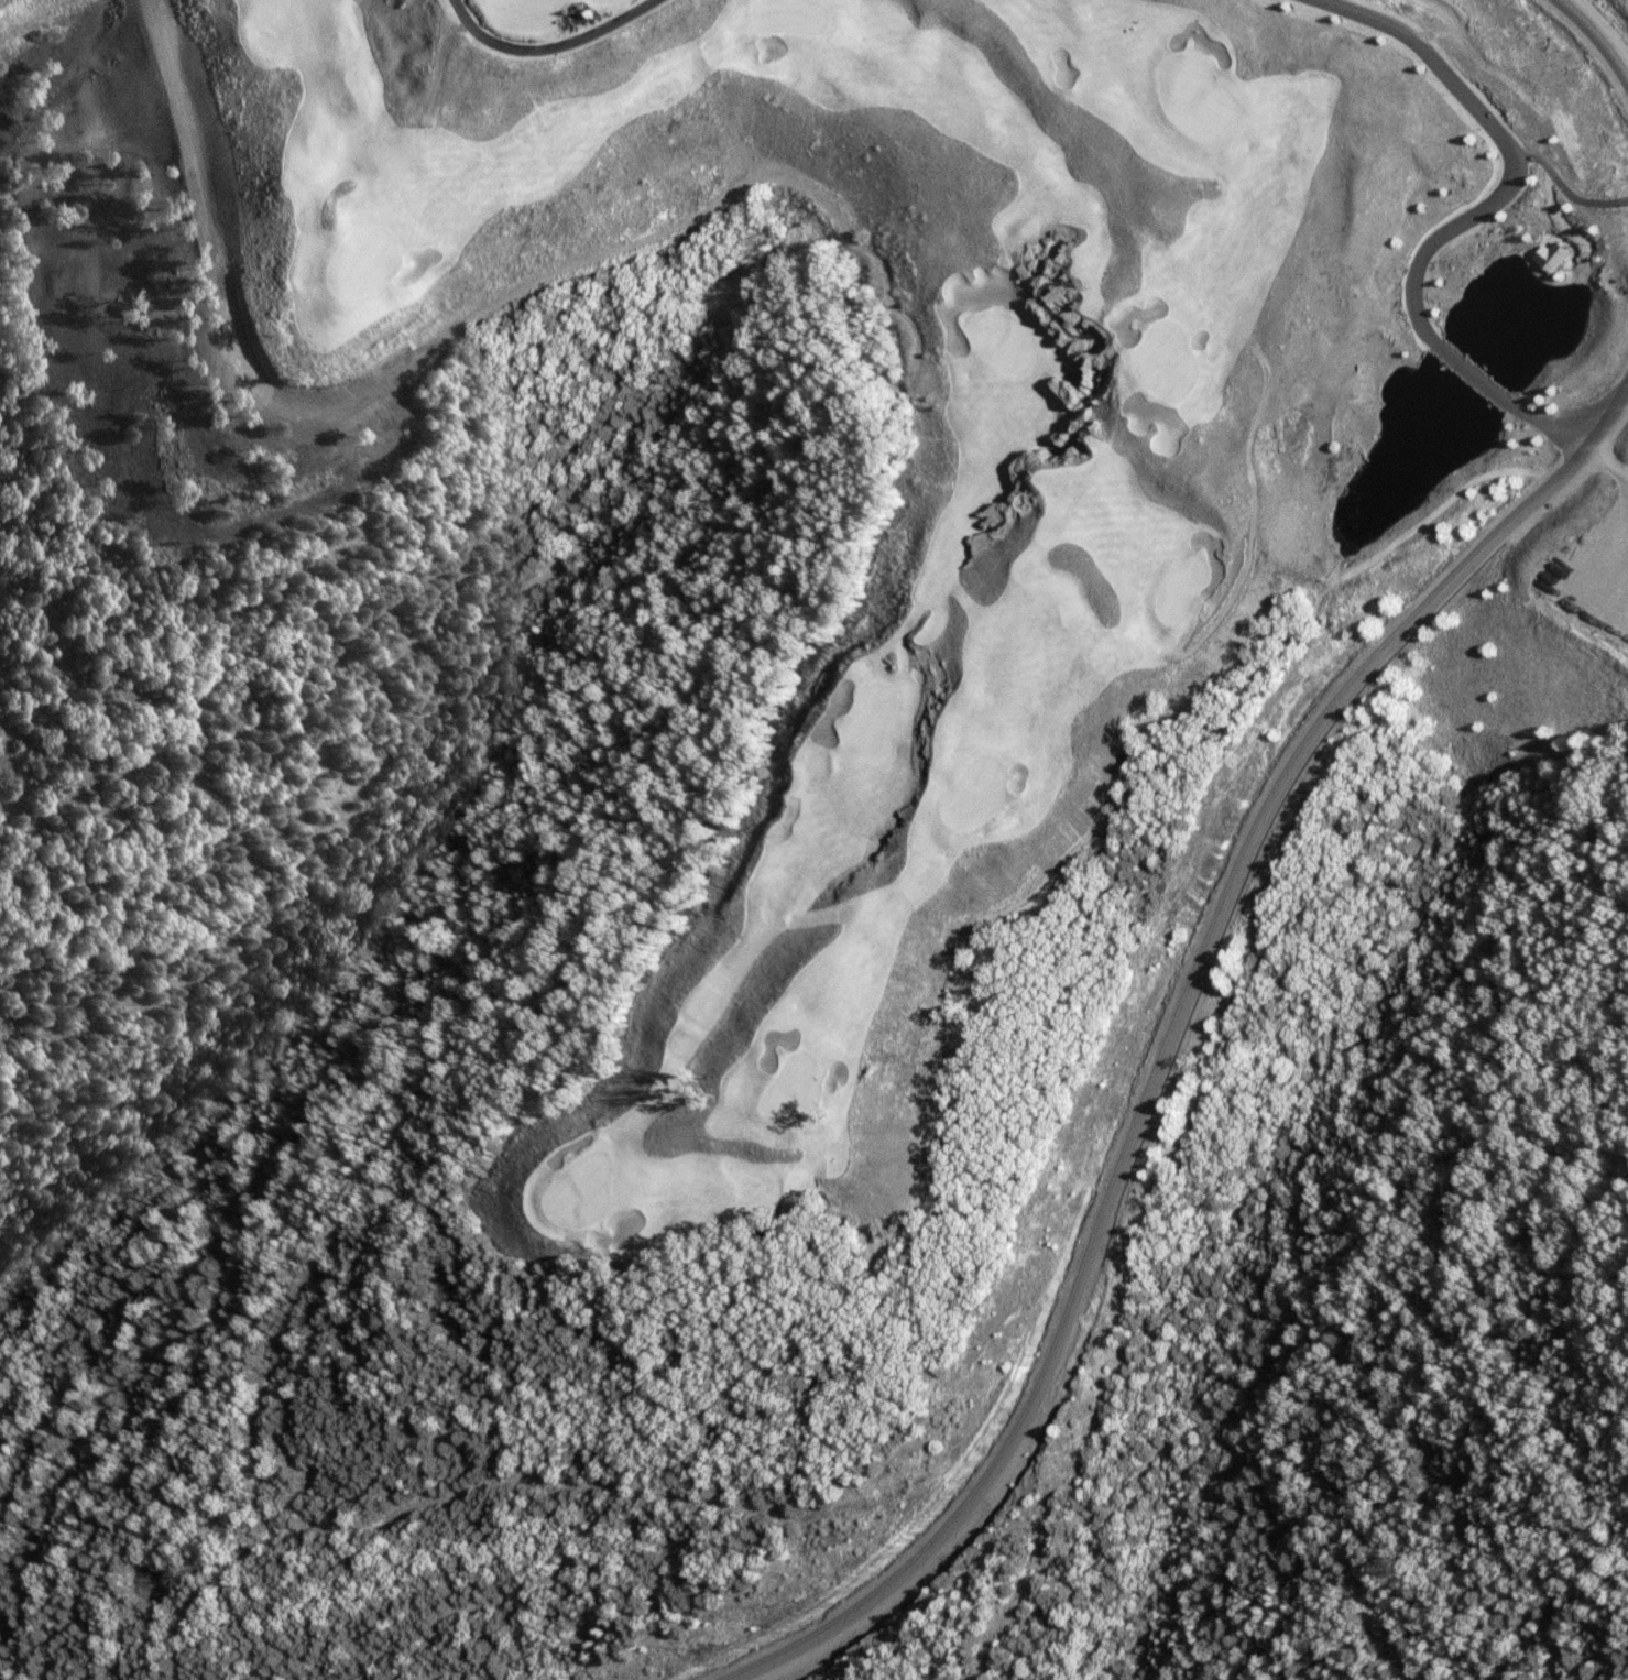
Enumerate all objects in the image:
road: (1594, 42)
road: (553, 47)
road: (1456, 223)
road: (863, 247)
building: (1560, 255)
park: (343, 323)
road: (325, 391)
road: (1622, 454)
road: (1165, 1056)

